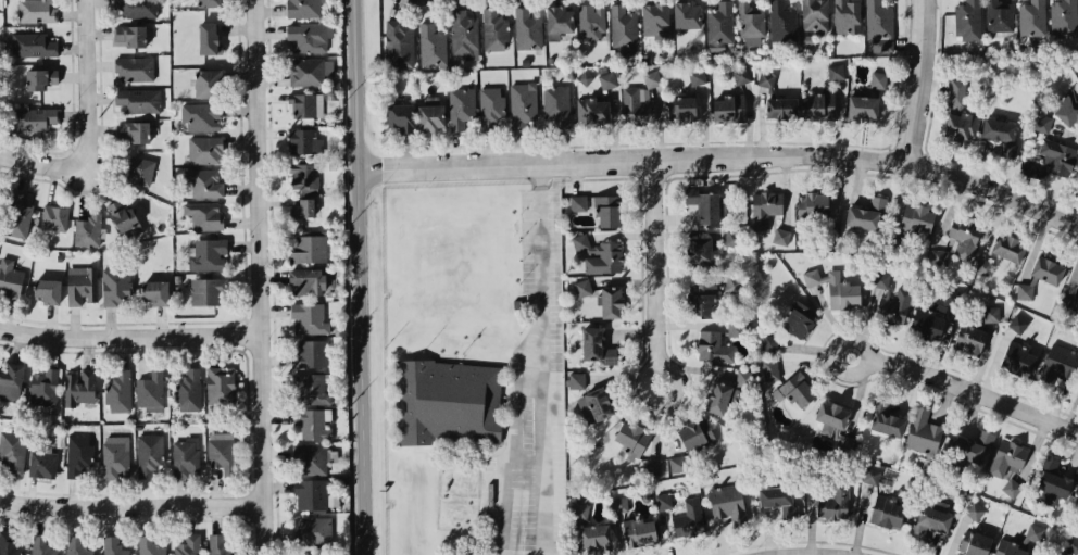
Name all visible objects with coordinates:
building: (209, 3)
building: (135, 8)
building: (304, 8)
building: (37, 11)
building: (687, 15)
building: (815, 15)
building: (1000, 15)
building: (847, 16)
building: (1032, 17)
building: (1064, 17)
building: (967, 20)
building: (559, 21)
building: (591, 22)
building: (782, 22)
building: (751, 24)
building: (879, 25)
building: (719, 26)
building: (624, 28)
building: (527, 29)
building: (494, 30)
building: (130, 35)
building: (464, 35)
building: (309, 37)
building: (209, 38)
building: (399, 43)
building: (33, 45)
building: (431, 45)
building: (134, 68)
building: (310, 71)
building: (836, 71)
building: (741, 75)
building: (697, 76)
building: (41, 78)
building: (651, 78)
building: (766, 78)
building: (607, 79)
building: (878, 79)
road: (927, 81)
road: (86, 83)
building: (208, 83)
building: (139, 100)
building: (306, 104)
building: (556, 104)
building: (818, 104)
building: (637, 105)
building: (461, 106)
building: (491, 106)
building: (523, 106)
building: (729, 108)
building: (781, 108)
building: (863, 108)
building: (1067, 108)
building: (682, 110)
building: (592, 111)
building: (431, 114)
building: (201, 115)
building: (401, 116)
building: (34, 117)
building: (1042, 123)
building: (961, 126)
building: (135, 130)
building: (1001, 135)
building: (304, 140)
building: (204, 150)
road: (723, 155)
building: (1058, 156)
road: (42, 164)
building: (140, 171)
building: (304, 177)
building: (205, 182)
building: (578, 202)
building: (704, 204)
building: (813, 205)
building: (303, 207)
building: (765, 207)
building: (609, 211)
building: (866, 213)
building: (20, 215)
building: (204, 215)
building: (54, 217)
building: (917, 217)
building: (125, 218)
building: (88, 229)
building: (781, 236)
building: (964, 236)
building: (732, 238)
building: (580, 241)
building: (310, 247)
building: (1008, 248)
building: (701, 252)
building: (208, 253)
building: (939, 257)
building: (605, 258)
building: (983, 266)
building: (1046, 269)
road: (259, 277)
road: (360, 277)
road: (660, 277)
building: (10, 278)
building: (880, 279)
building: (308, 281)
building: (732, 283)
building: (82, 285)
building: (116, 286)
building: (582, 287)
building: (836, 288)
building: (1077, 289)
building: (48, 290)
building: (1025, 290)
building: (205, 291)
building: (156, 292)
building: (702, 298)
building: (611, 302)
building: (1068, 305)
building: (893, 306)
building: (991, 314)
building: (309, 318)
building: (799, 319)
building: (928, 320)
building: (1018, 323)
building: (734, 328)
road: (129, 335)
building: (969, 339)
building: (769, 342)
building: (597, 346)
building: (713, 346)
building: (311, 353)
road: (540, 358)
building: (1018, 360)
building: (1058, 364)
building: (769, 368)
building: (743, 377)
building: (576, 380)
building: (11, 381)
building: (221, 386)
road: (960, 386)
building: (45, 387)
building: (79, 387)
building: (150, 389)
building: (311, 389)
building: (189, 390)
building: (797, 390)
building: (118, 391)
building: (719, 398)
building: (448, 402)
building: (594, 405)
building: (831, 416)
building: (887, 420)
building: (313, 422)
building: (923, 431)
building: (695, 433)
building: (632, 439)
building: (844, 441)
building: (972, 445)
building: (221, 450)
building: (12, 451)
building: (149, 454)
building: (78, 456)
building: (116, 456)
building: (186, 456)
building: (310, 458)
building: (1007, 458)
building: (42, 463)
building: (677, 463)
building: (653, 466)
building: (870, 475)
building: (1052, 482)
building: (1011, 487)
building: (1077, 493)
building: (312, 494)
building: (664, 500)
building: (778, 500)
building: (619, 503)
building: (728, 503)
building: (835, 503)
road: (130, 506)
building: (579, 510)
building: (974, 510)
building: (887, 512)
building: (689, 518)
building: (314, 530)
building: (639, 531)
building: (1035, 532)
building: (596, 538)
building: (8, 543)
building: (975, 543)
building: (41, 545)
building: (76, 545)
building: (113, 545)
building: (152, 545)
building: (189, 545)
building: (220, 545)
building: (1073, 545)
building: (1010, 548)
road: (816, 552)
building: (311, 554)

